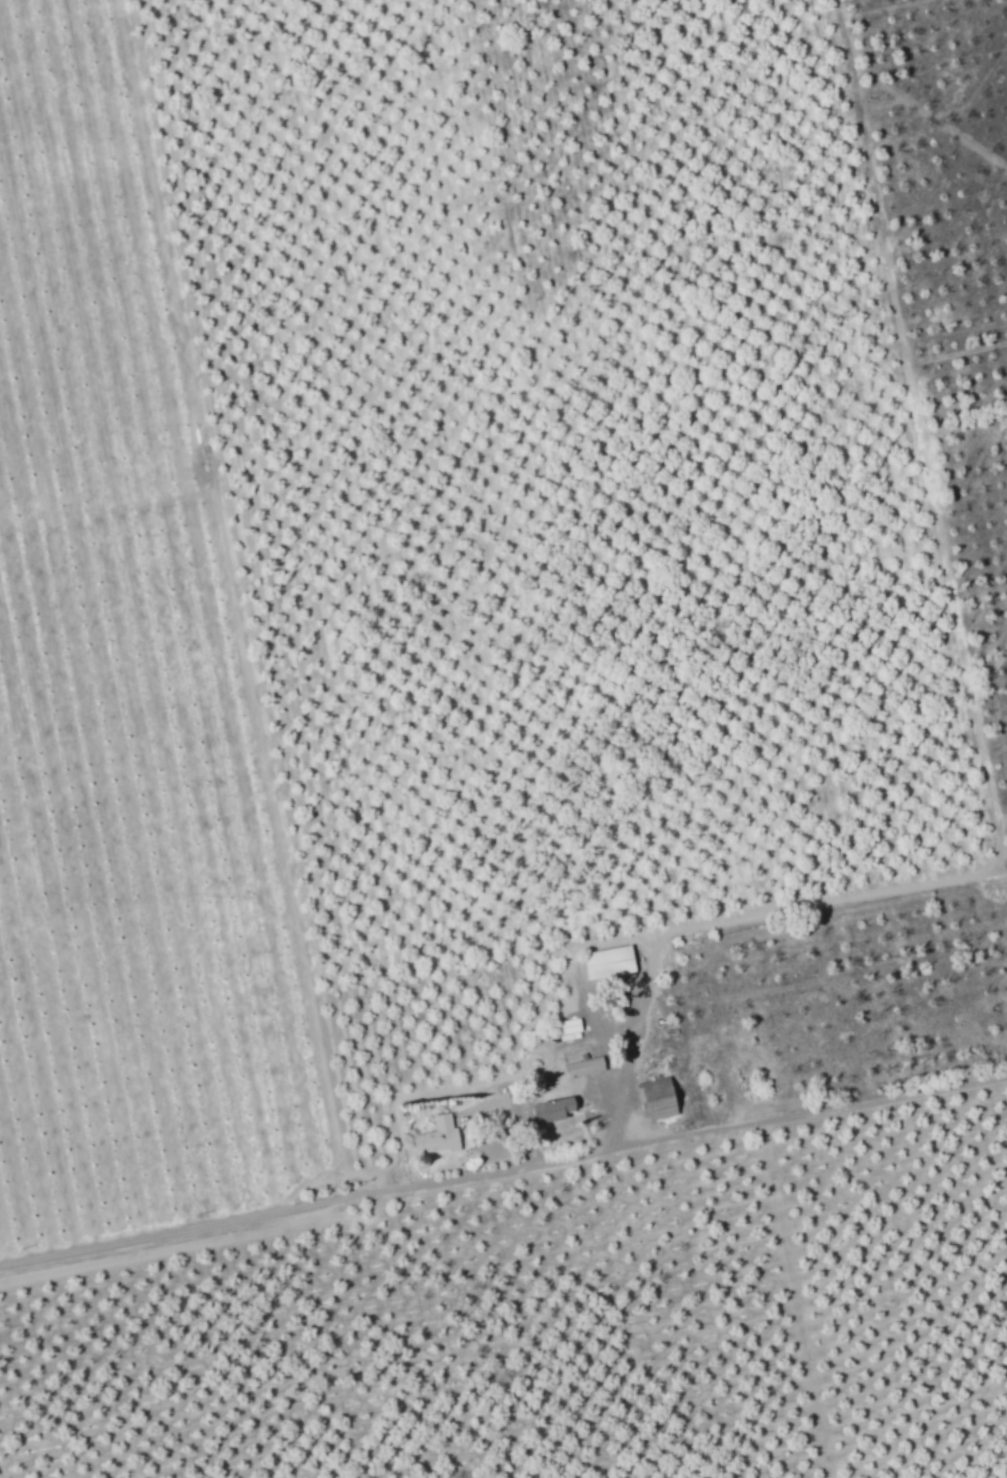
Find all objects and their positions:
road: (832, 897)
building: (611, 961)
building: (580, 1067)
building: (559, 1107)
building: (439, 1134)
road: (503, 1169)

